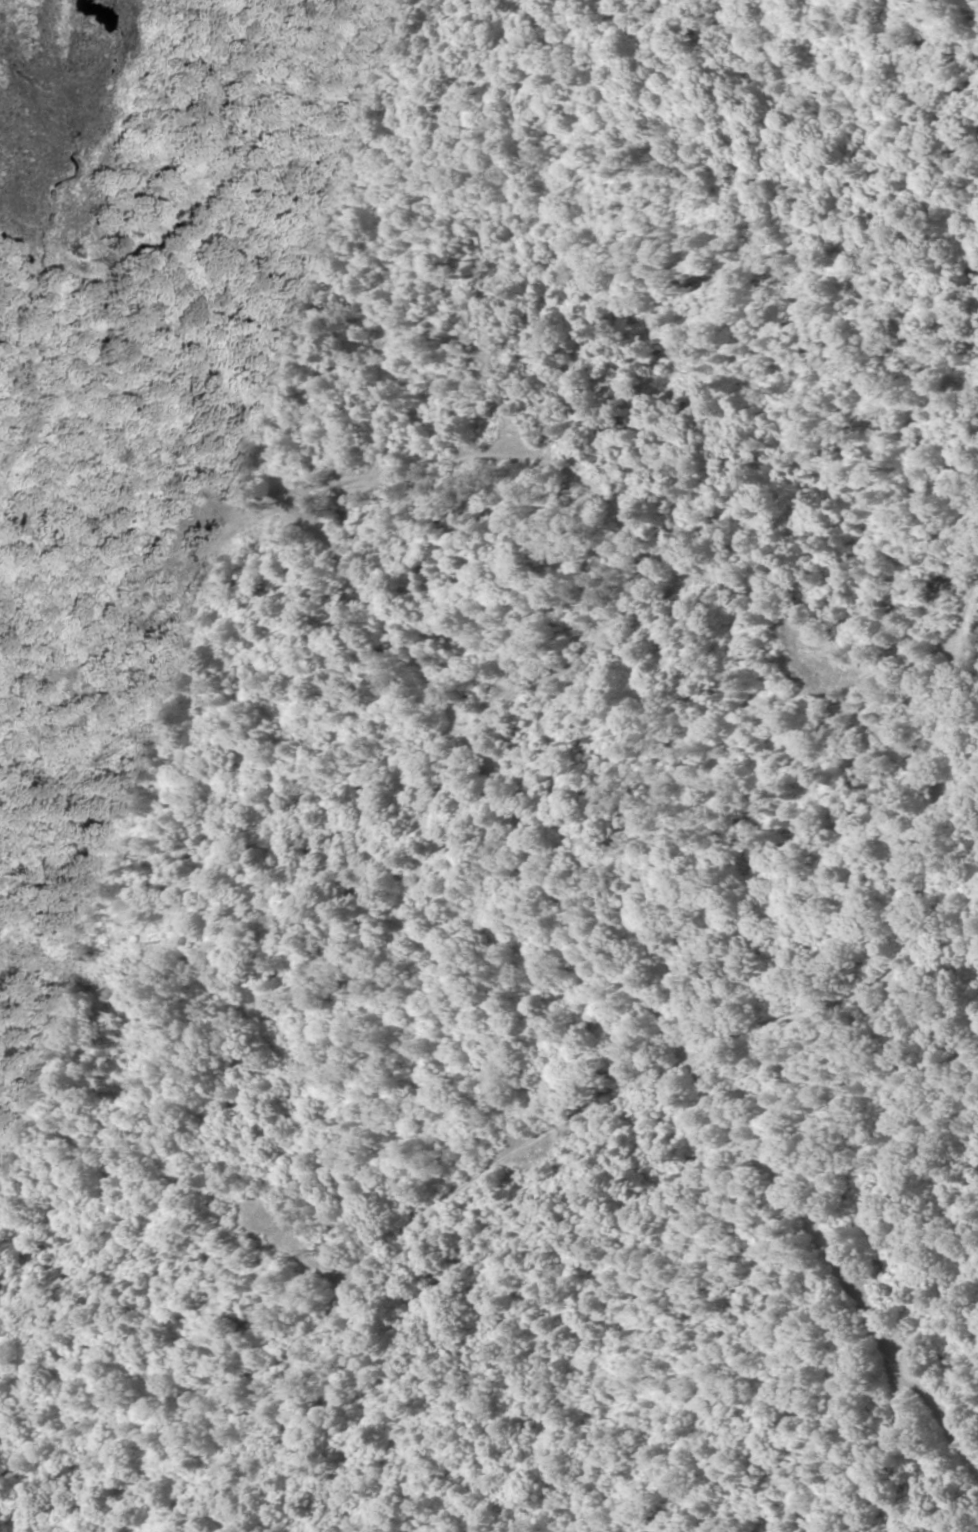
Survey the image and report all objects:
road: (571, 1115)

